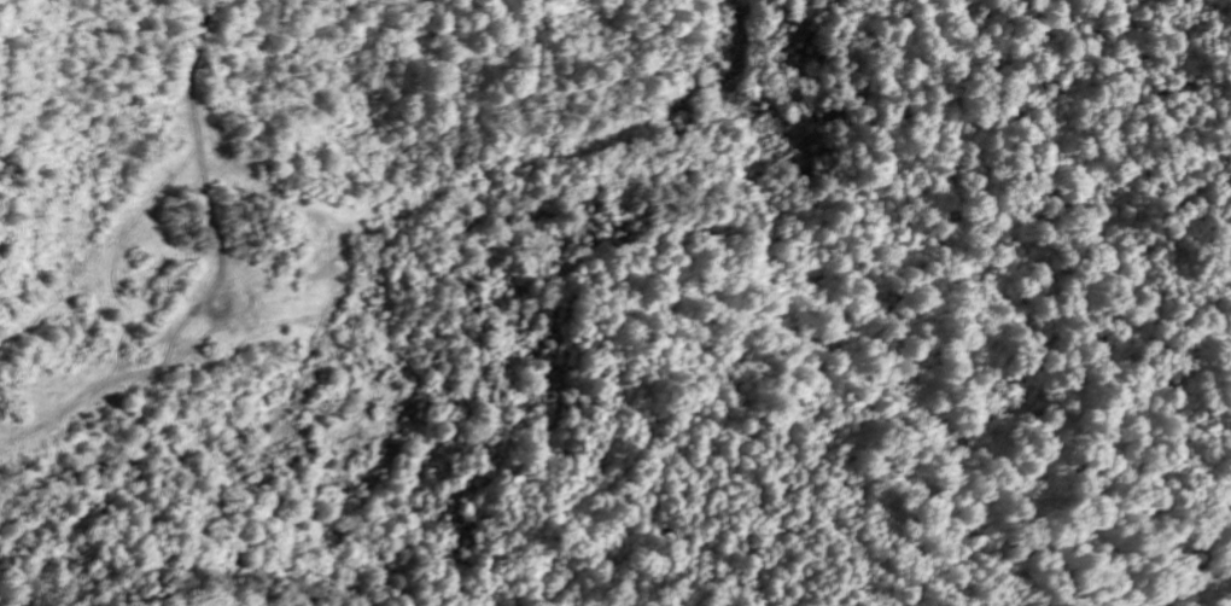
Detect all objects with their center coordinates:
road: (221, 280)

